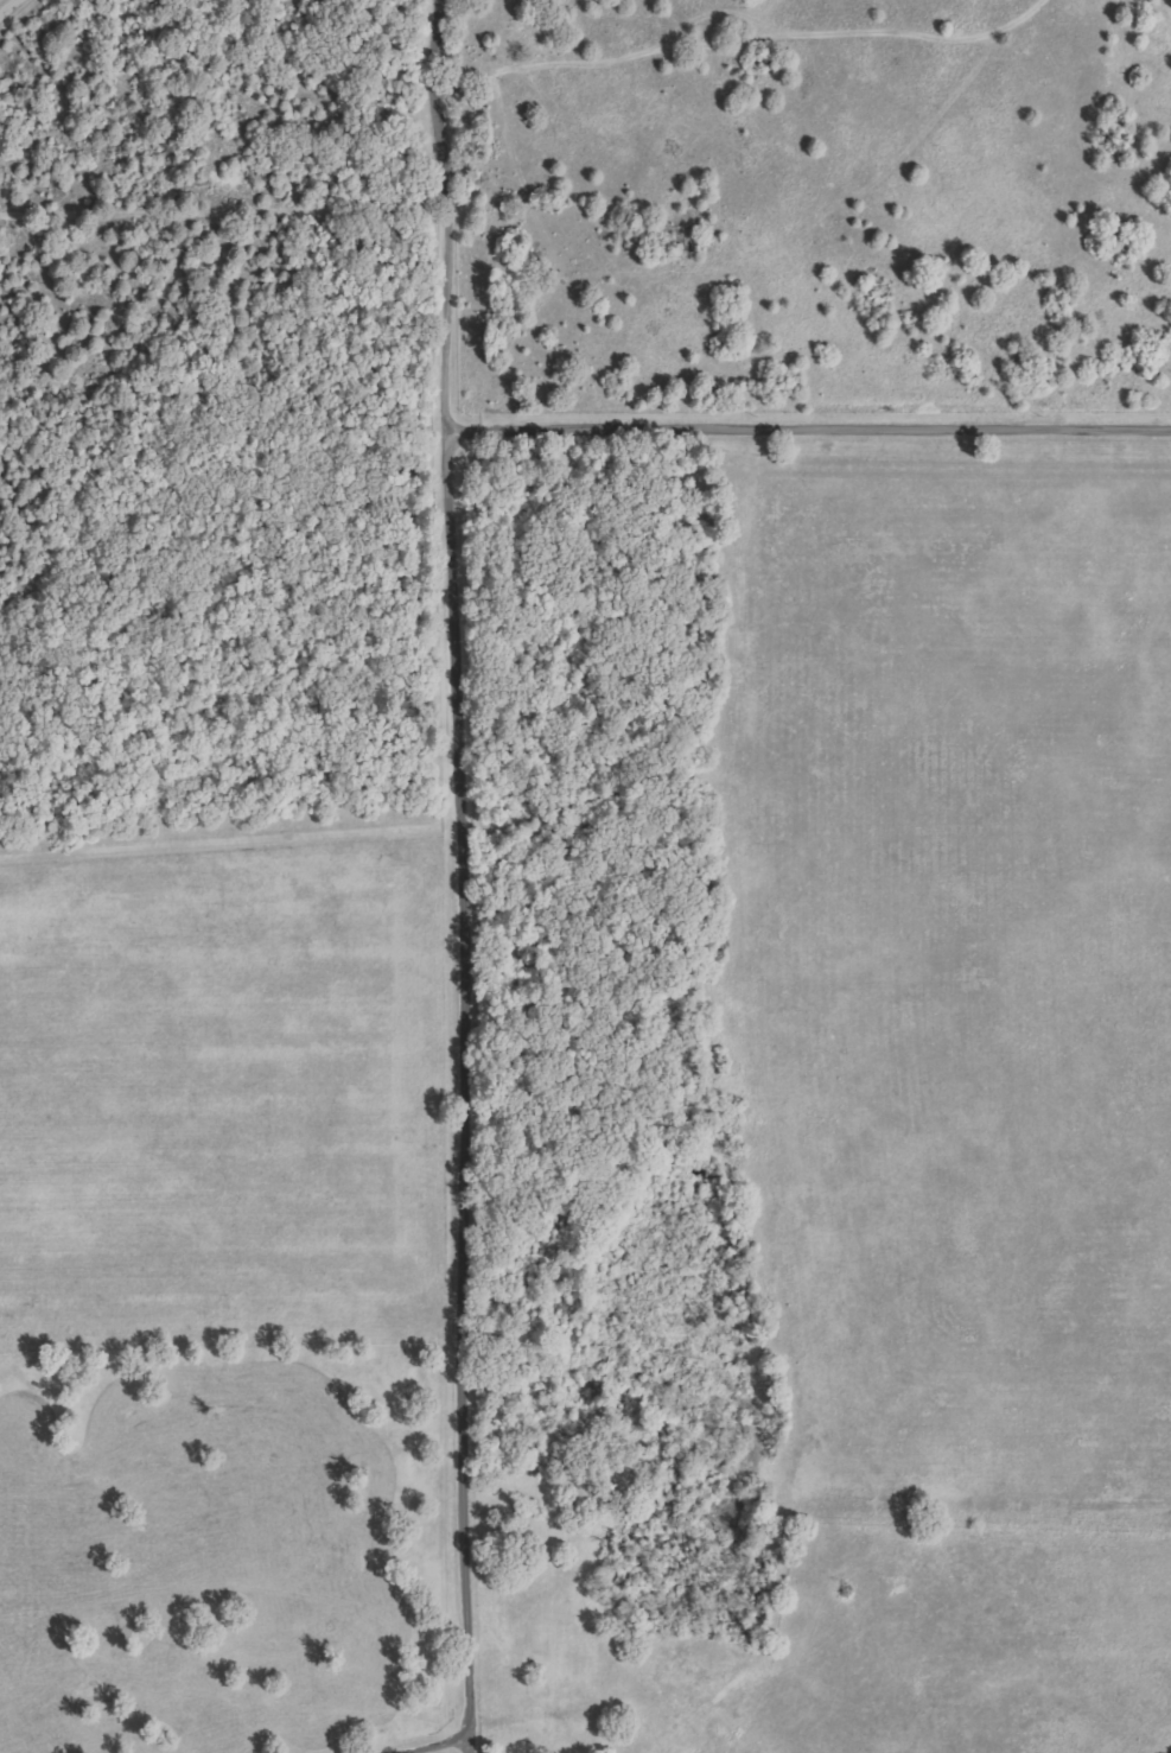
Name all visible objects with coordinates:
road: (6, 5)
road: (804, 430)
road: (458, 865)
road: (438, 1744)

